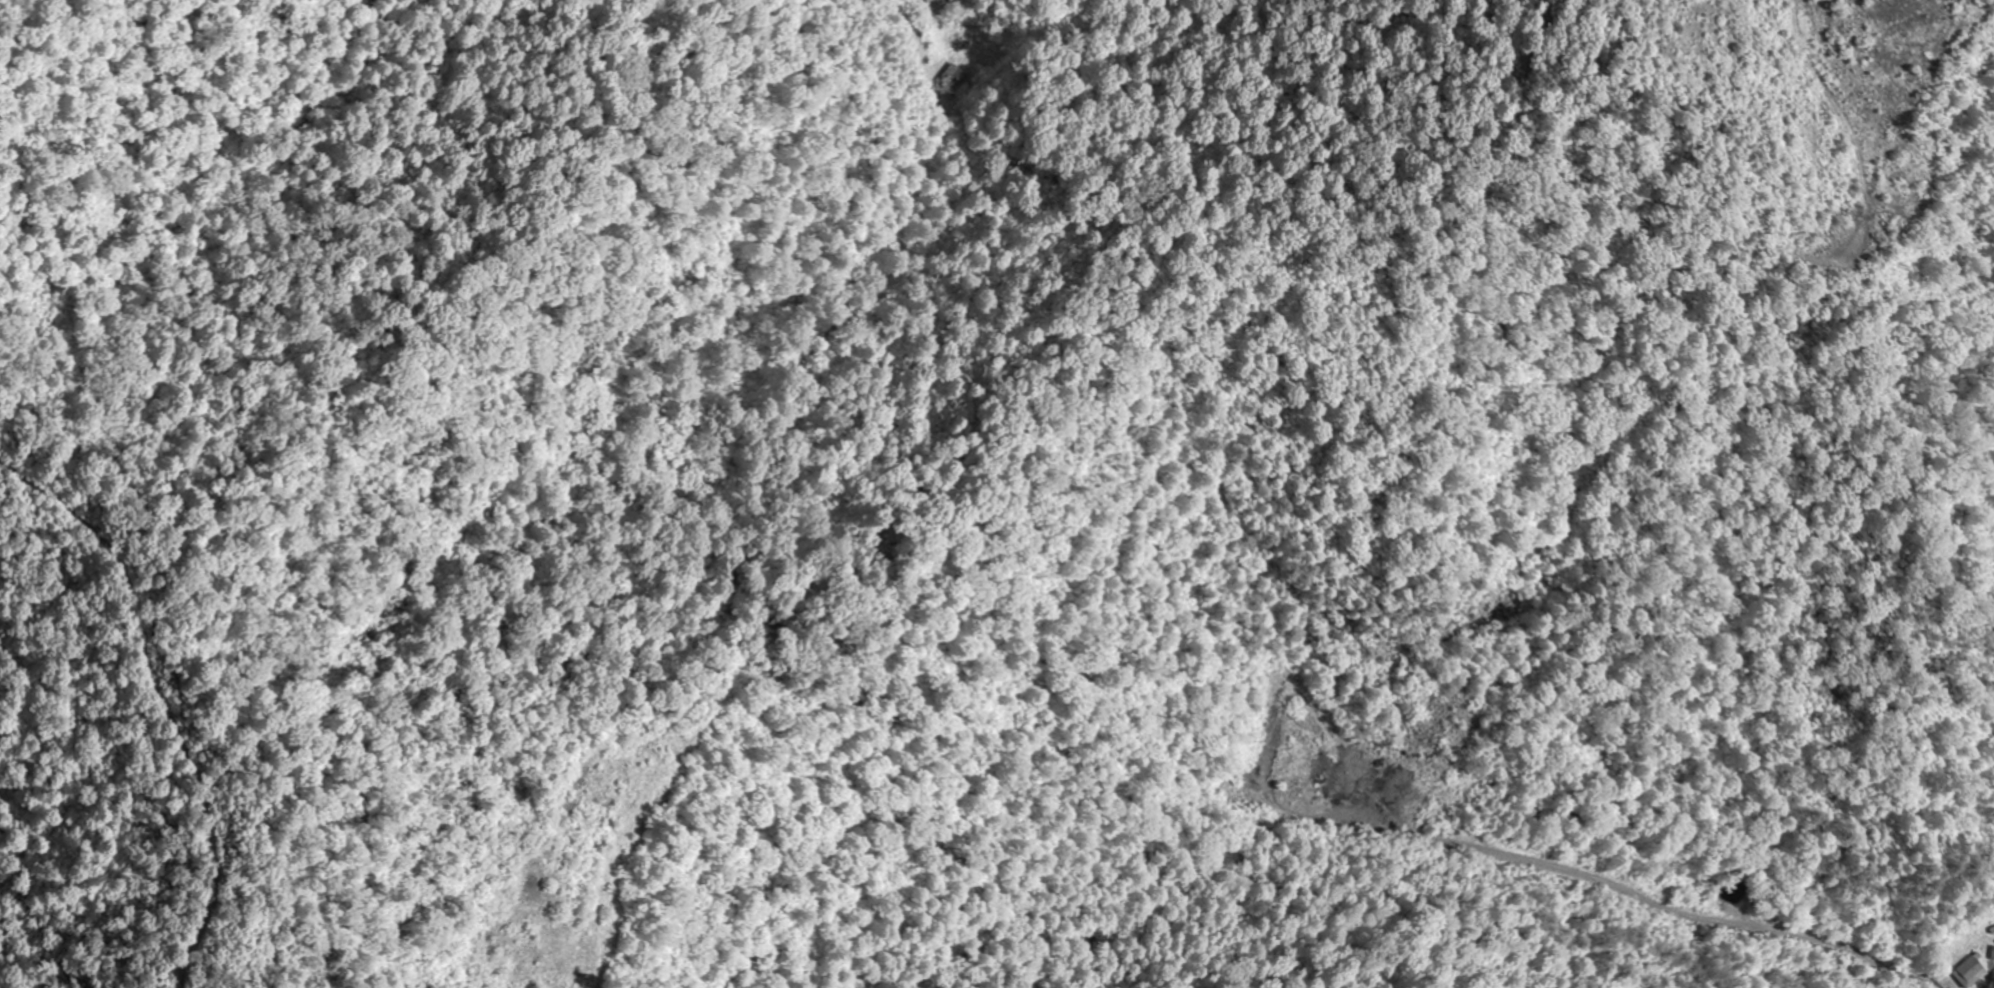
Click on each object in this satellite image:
building: (937, 4)
road: (905, 18)
building: (951, 79)
road: (1668, 911)
building: (1973, 973)

